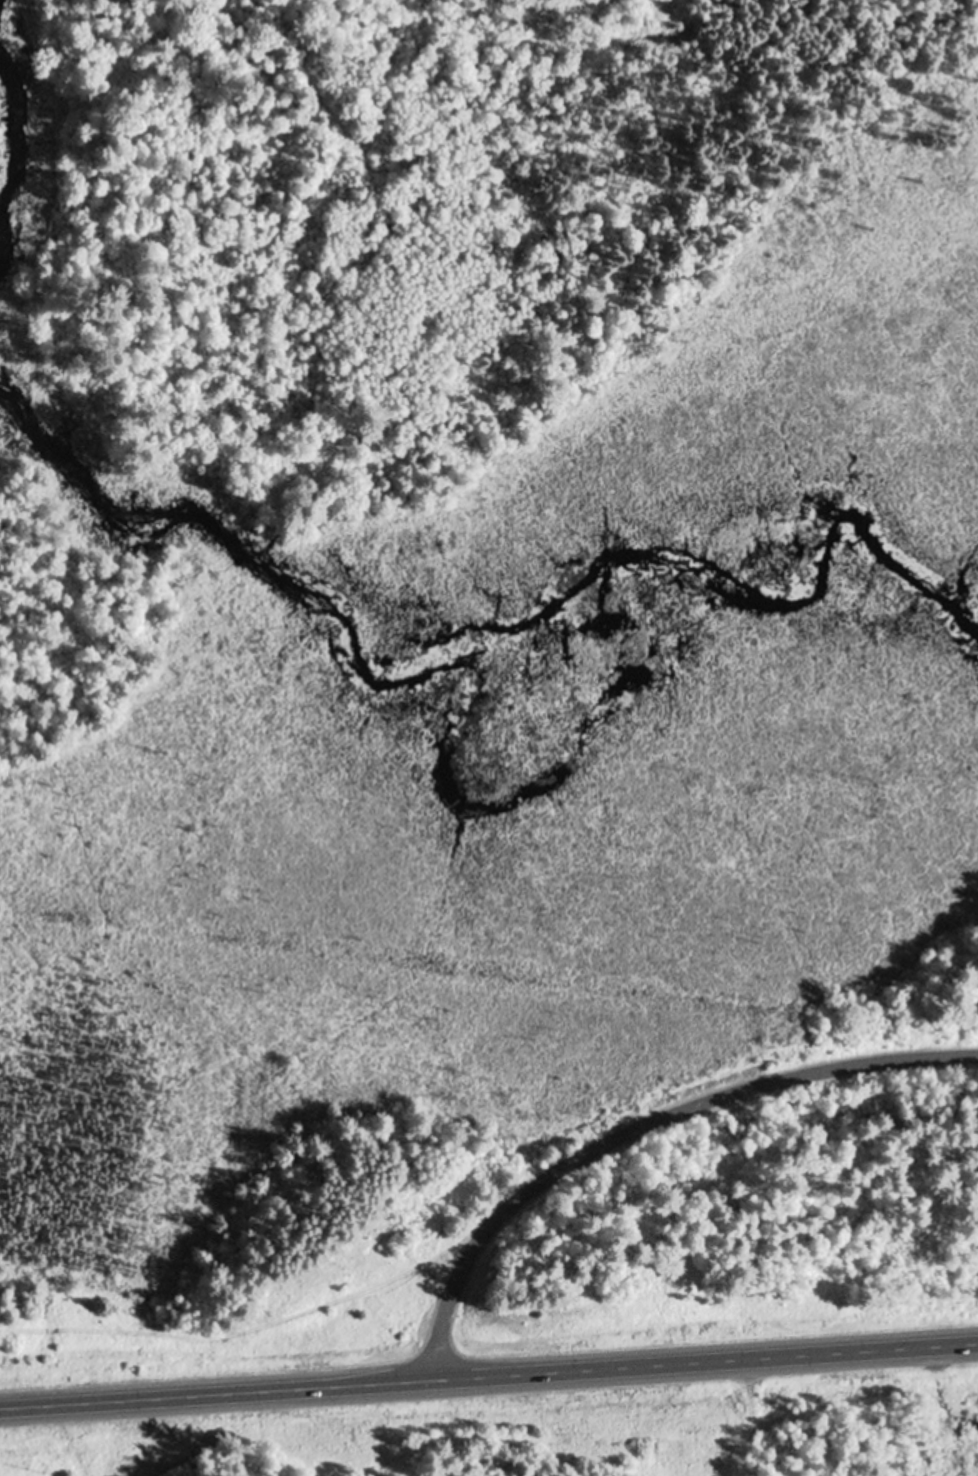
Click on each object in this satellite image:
road: (641, 1134)
road: (489, 1378)

